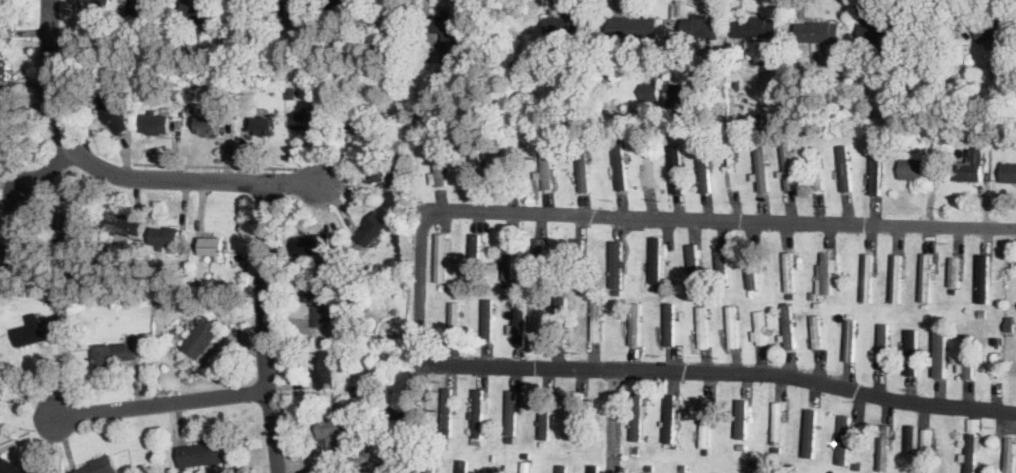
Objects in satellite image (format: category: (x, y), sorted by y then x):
building: (376, 0)
building: (396, 0)
building: (340, 5)
building: (95, 6)
building: (195, 9)
building: (142, 10)
building: (239, 10)
building: (293, 10)
building: (254, 12)
building: (5, 15)
building: (568, 24)
building: (701, 26)
building: (632, 27)
building: (755, 27)
building: (883, 32)
building: (997, 32)
building: (818, 33)
building: (448, 36)
building: (675, 36)
building: (519, 58)
building: (3, 69)
building: (229, 85)
building: (291, 91)
building: (650, 92)
building: (675, 94)
building: (939, 103)
building: (558, 105)
building: (861, 110)
building: (112, 113)
building: (674, 113)
building: (2, 119)
building: (306, 120)
building: (354, 121)
building: (152, 122)
building: (249, 122)
building: (208, 123)
building: (262, 126)
building: (974, 131)
building: (1001, 134)
building: (508, 135)
building: (421, 137)
building: (464, 137)
building: (533, 141)
building: (476, 166)
building: (620, 166)
building: (788, 166)
building: (969, 166)
road: (215, 167)
building: (439, 167)
building: (510, 167)
building: (582, 167)
building: (648, 167)
building: (760, 167)
building: (844, 167)
building: (546, 168)
building: (676, 168)
building: (704, 168)
building: (876, 169)
building: (911, 169)
building: (817, 172)
building: (1009, 172)
building: (376, 173)
building: (553, 173)
road: (46, 175)
building: (538, 176)
road: (115, 178)
building: (406, 184)
building: (553, 185)
road: (643, 217)
building: (72, 219)
building: (120, 222)
building: (373, 229)
building: (165, 236)
building: (312, 244)
building: (213, 248)
building: (584, 251)
building: (663, 251)
building: (11, 252)
building: (475, 256)
building: (509, 256)
building: (729, 256)
building: (440, 258)
building: (539, 259)
building: (655, 260)
building: (577, 263)
building: (617, 264)
building: (692, 264)
building: (835, 264)
building: (722, 266)
building: (751, 269)
building: (789, 272)
building: (826, 272)
building: (954, 272)
building: (151, 273)
building: (867, 277)
building: (982, 277)
building: (897, 278)
building: (925, 278)
building: (820, 281)
building: (506, 282)
building: (193, 287)
building: (654, 288)
building: (340, 291)
building: (520, 292)
building: (812, 294)
building: (490, 295)
building: (791, 295)
building: (54, 300)
building: (320, 304)
building: (818, 304)
building: (813, 311)
building: (395, 312)
building: (560, 318)
building: (596, 319)
building: (519, 320)
building: (454, 321)
building: (487, 321)
building: (669, 323)
building: (635, 324)
building: (1009, 324)
building: (732, 326)
building: (788, 326)
road: (263, 328)
building: (702, 328)
building: (760, 329)
building: (38, 331)
building: (817, 332)
building: (201, 336)
building: (782, 338)
building: (851, 338)
building: (883, 345)
building: (844, 350)
building: (911, 352)
building: (115, 354)
building: (939, 357)
building: (967, 357)
building: (998, 357)
building: (323, 369)
road: (718, 371)
building: (362, 388)
building: (416, 403)
road: (156, 404)
building: (677, 404)
building: (486, 405)
building: (396, 412)
building: (447, 412)
building: (644, 412)
building: (478, 413)
building: (512, 415)
building: (544, 415)
building: (577, 417)
building: (637, 417)
building: (669, 418)
road: (612, 421)
building: (742, 422)
building: (629, 423)
building: (705, 423)
building: (777, 423)
building: (974, 423)
building: (663, 424)
building: (399, 427)
building: (358, 429)
building: (810, 430)
building: (334, 434)
building: (393, 438)
building: (909, 438)
building: (843, 440)
building: (322, 441)
building: (477, 443)
building: (543, 443)
building: (979, 443)
building: (511, 446)
building: (666, 446)
building: (884, 448)
building: (777, 449)
building: (636, 450)
building: (926, 450)
building: (463, 452)
building: (972, 452)
building: (430, 453)
building: (202, 454)
building: (1010, 455)
building: (321, 456)
building: (521, 457)
building: (910, 457)
building: (494, 458)
building: (964, 458)
building: (101, 466)
building: (858, 466)
building: (462, 467)
building: (684, 467)
building: (12, 468)
building: (430, 468)
building: (562, 468)
building: (593, 468)
building: (789, 468)
building: (144, 469)
building: (495, 470)
building: (527, 470)
building: (649, 472)
building: (684, 472)

